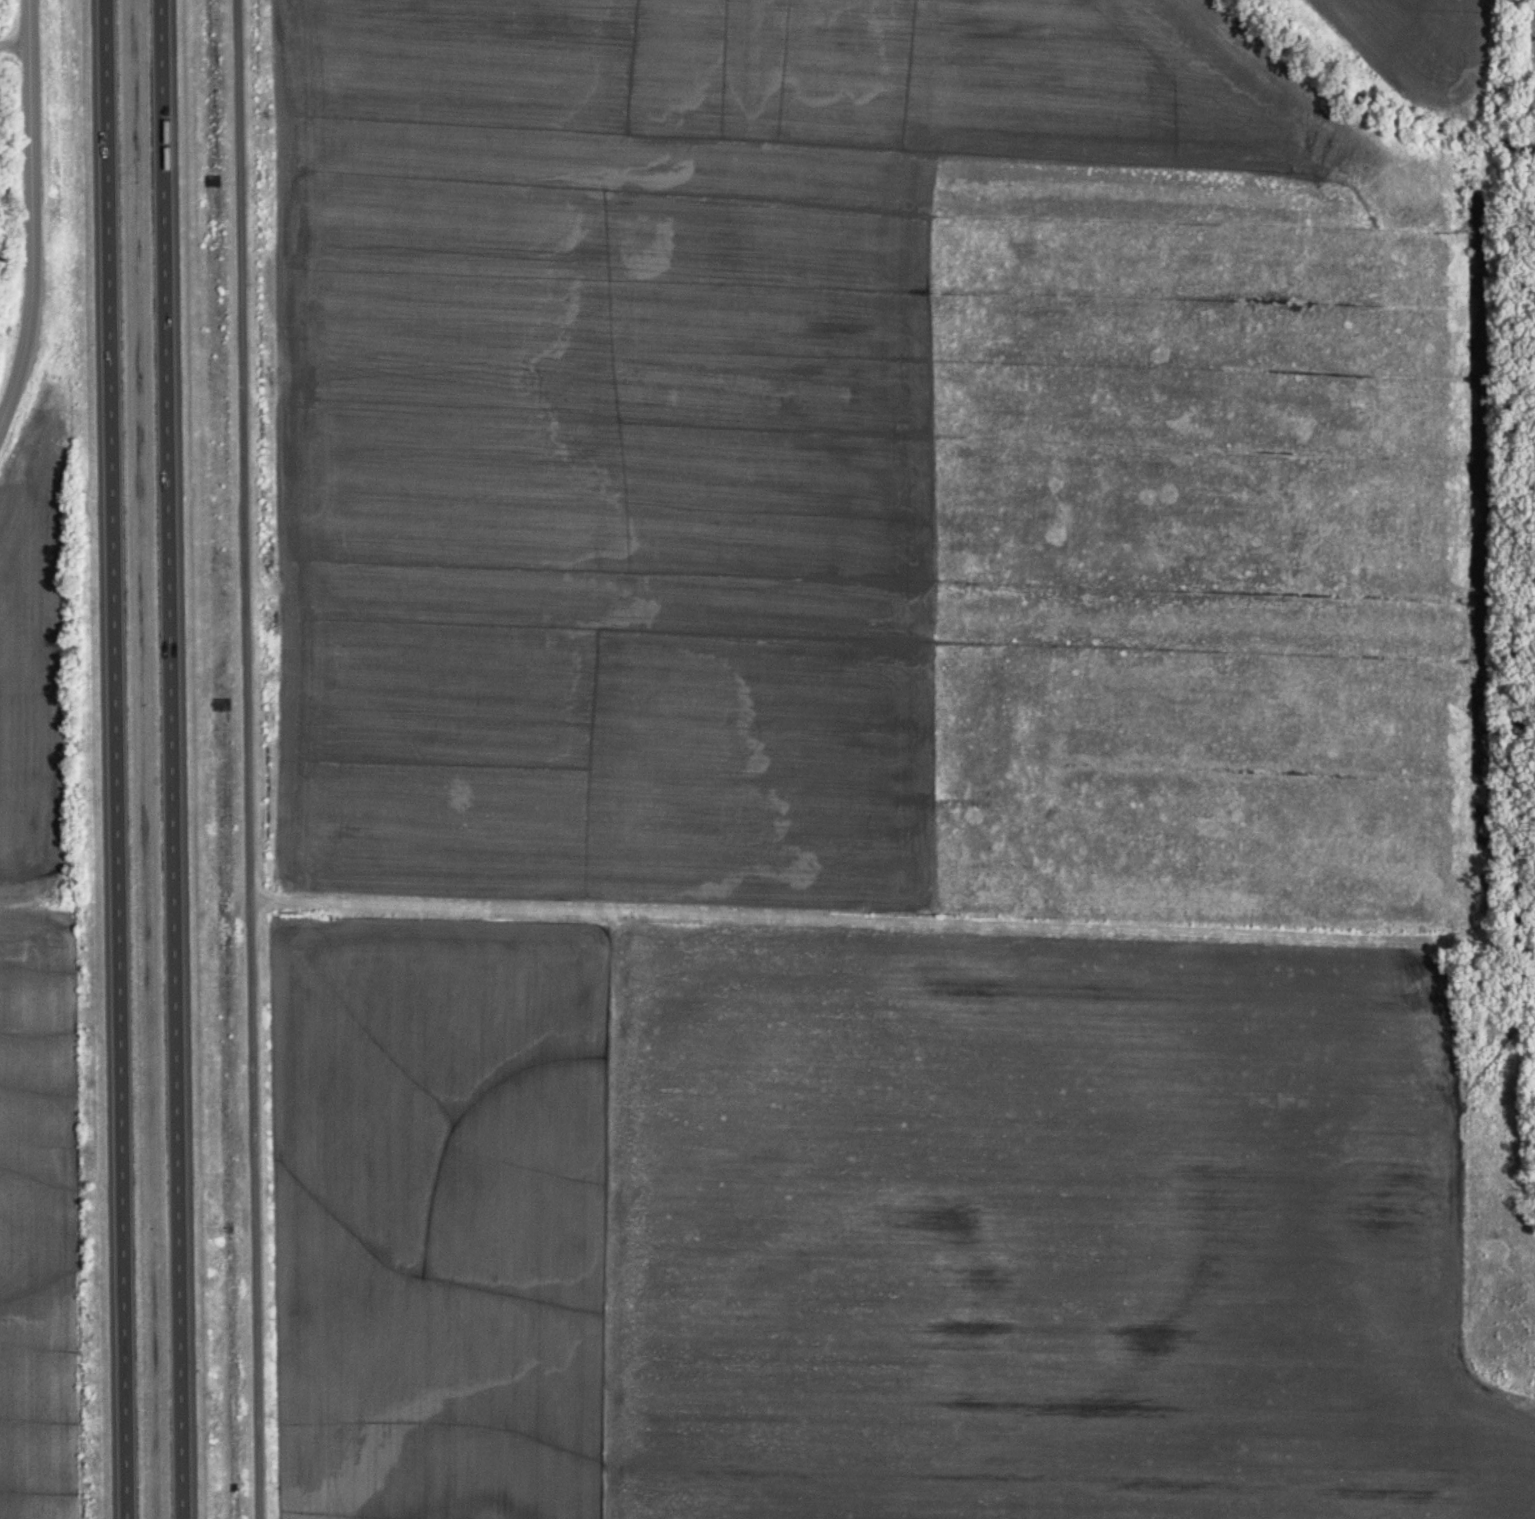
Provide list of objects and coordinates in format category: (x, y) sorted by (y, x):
road: (34, 222)
road: (115, 759)
road: (177, 759)
road: (249, 759)

